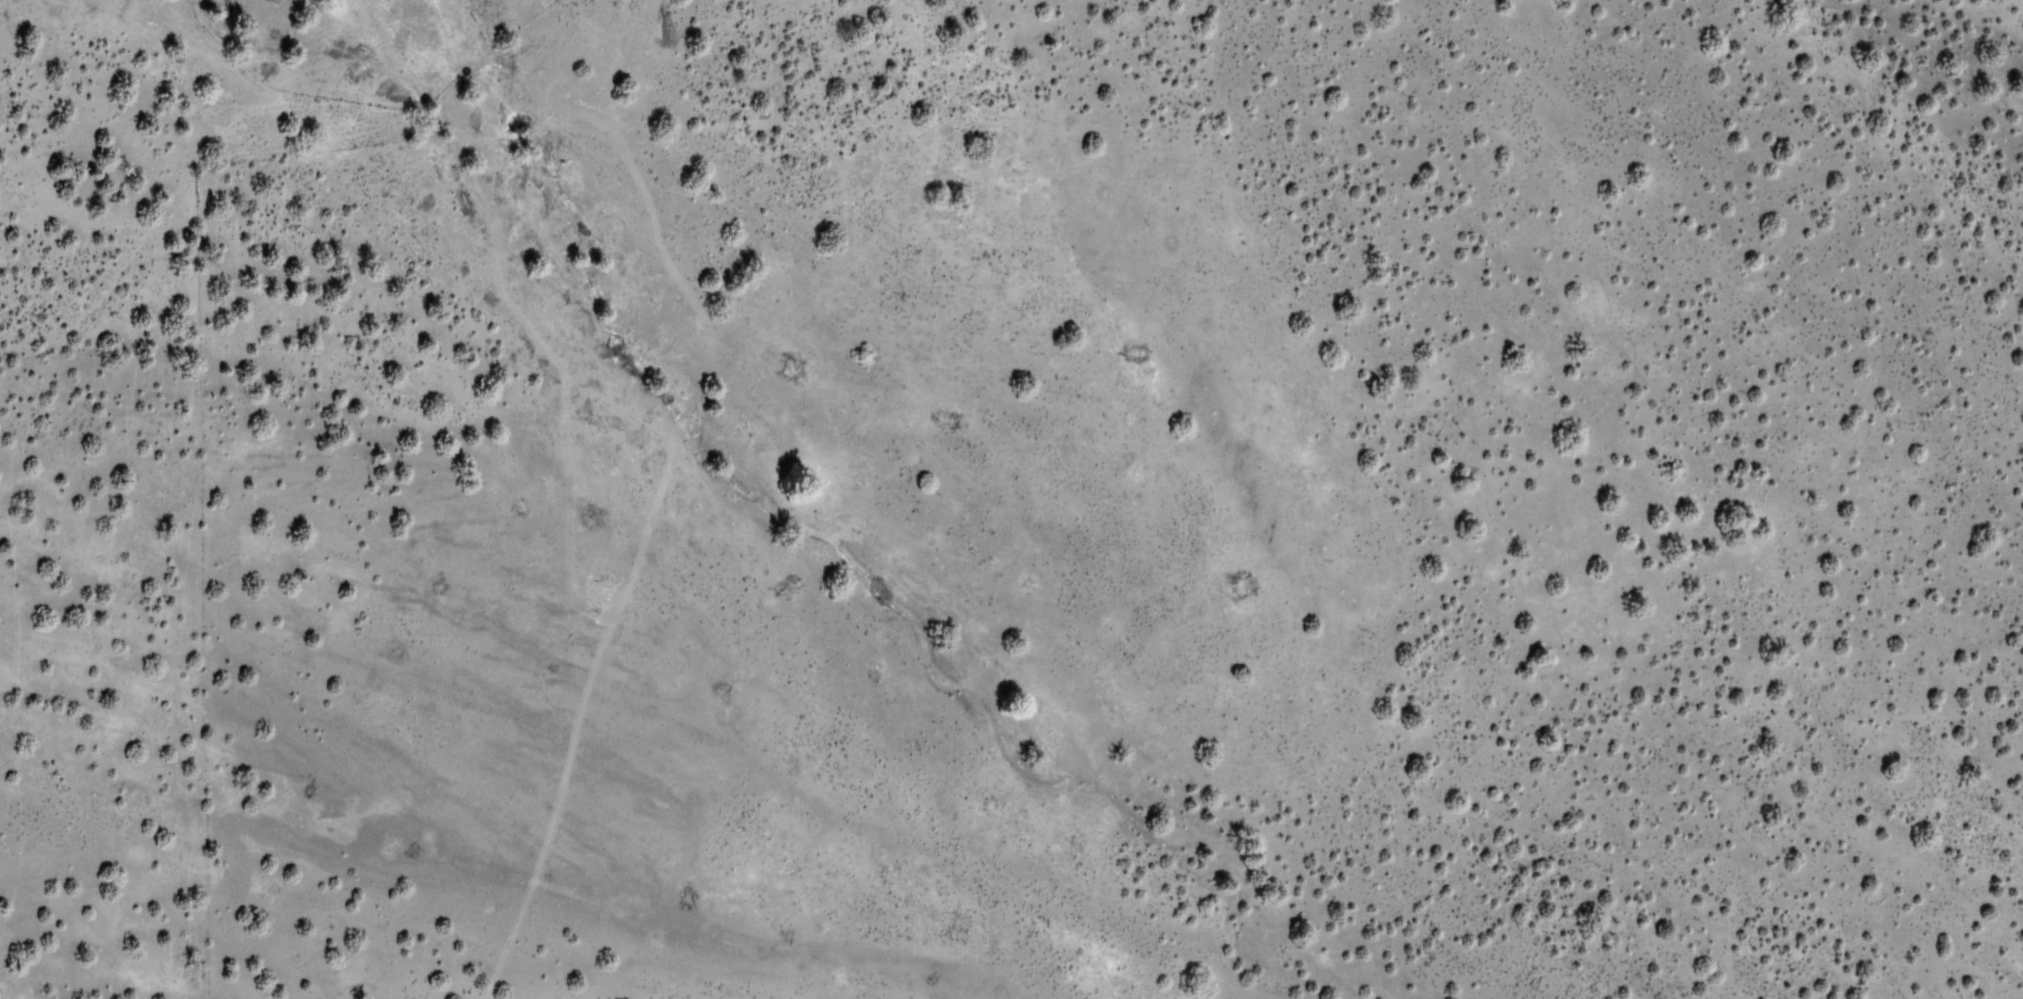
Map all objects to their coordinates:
road: (675, 457)

